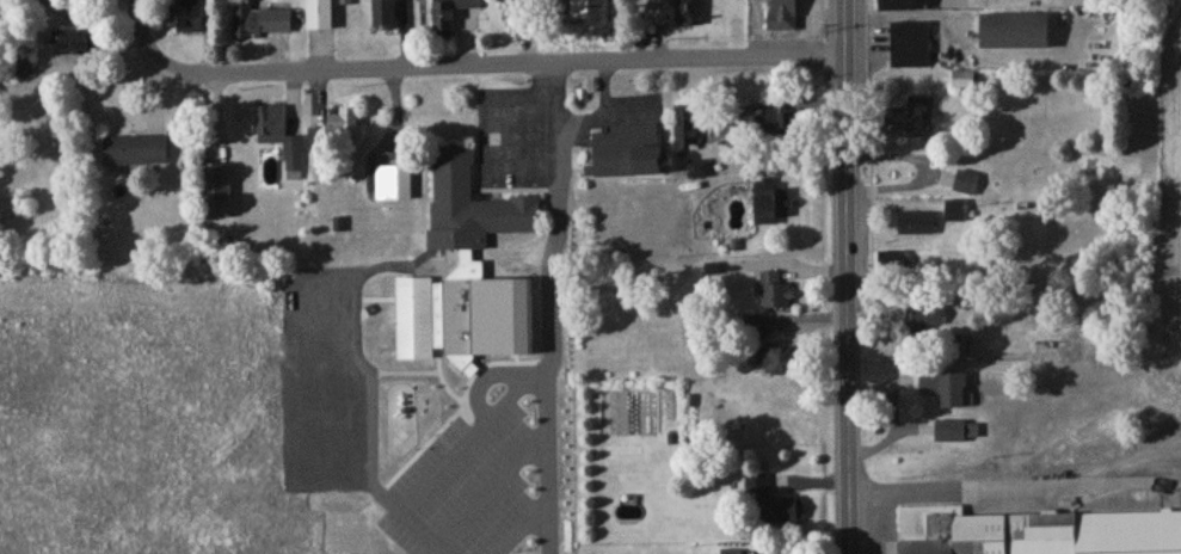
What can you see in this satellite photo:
building: (992, 6)
building: (902, 7)
building: (453, 14)
building: (601, 14)
building: (678, 14)
building: (785, 16)
building: (322, 17)
building: (387, 17)
building: (189, 18)
building: (262, 25)
road: (143, 26)
building: (1017, 35)
building: (78, 48)
building: (912, 48)
road: (438, 64)
building: (25, 72)
building: (965, 82)
road: (19, 84)
road: (583, 119)
building: (911, 119)
building: (688, 128)
building: (781, 128)
building: (336, 130)
building: (283, 142)
building: (137, 154)
building: (632, 156)
building: (700, 172)
building: (967, 186)
building: (219, 192)
building: (773, 205)
building: (957, 214)
building: (473, 215)
building: (917, 227)
building: (894, 264)
road: (848, 276)
building: (776, 295)
road: (499, 318)
building: (925, 319)
building: (417, 322)
road: (548, 338)
building: (780, 364)
building: (951, 393)
building: (959, 435)
road: (1016, 492)
building: (773, 507)
building: (1039, 534)
building: (733, 553)

